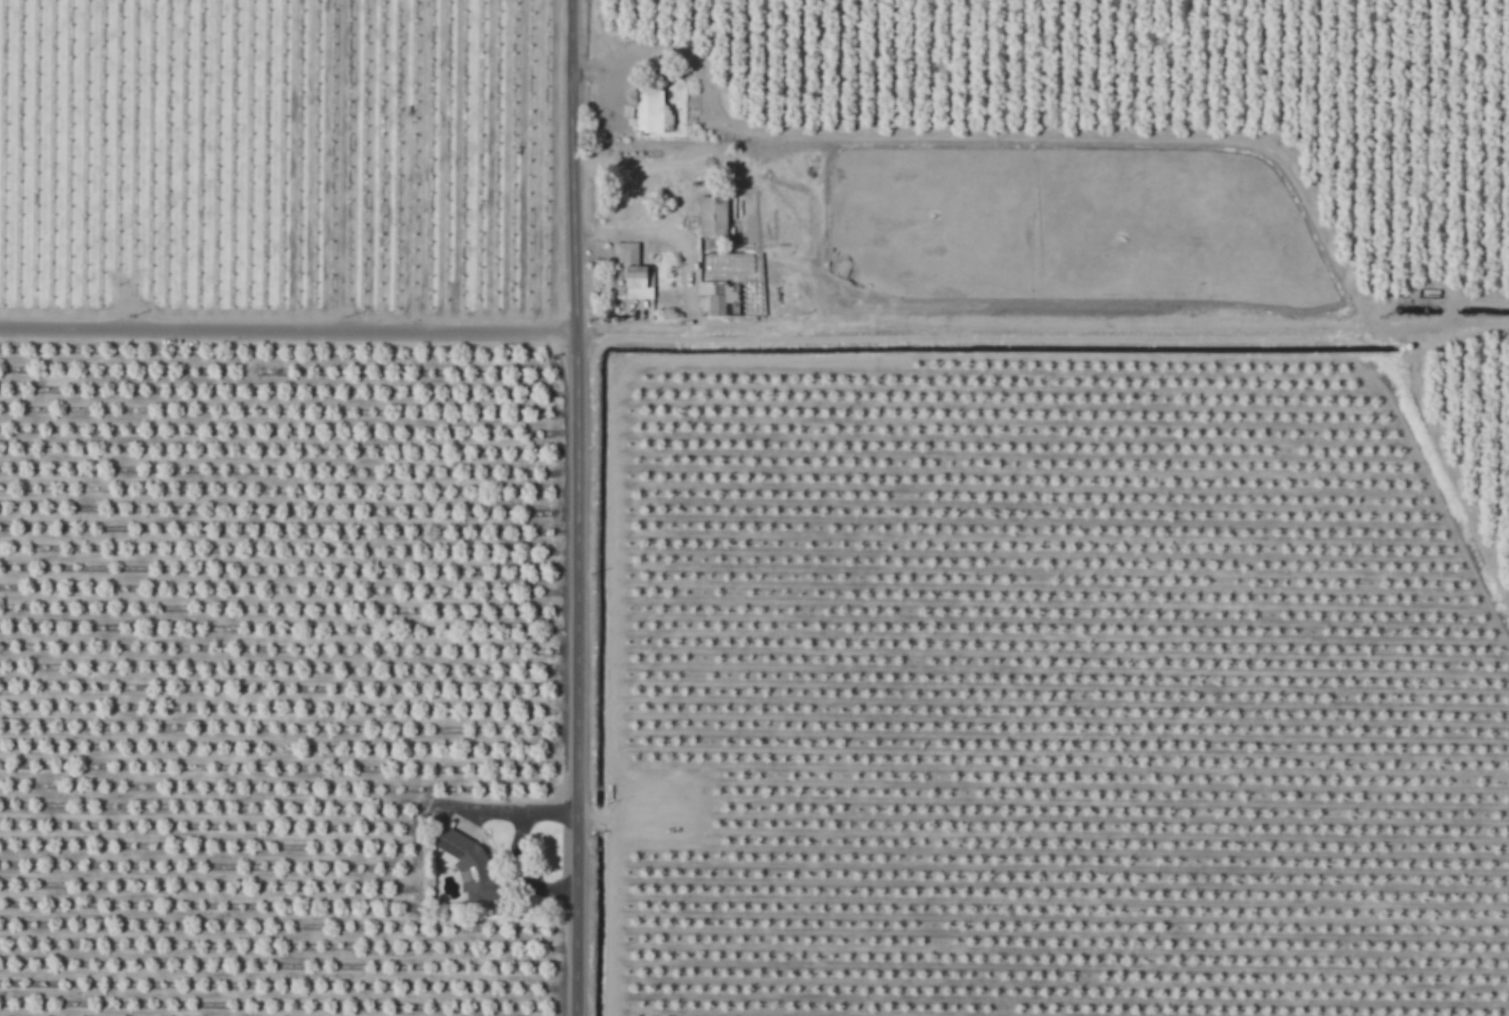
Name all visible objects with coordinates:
building: (652, 112)
building: (712, 217)
building: (626, 253)
building: (634, 281)
road: (685, 286)
building: (719, 300)
road: (292, 328)
road: (1061, 338)
road: (583, 508)
building: (465, 856)

